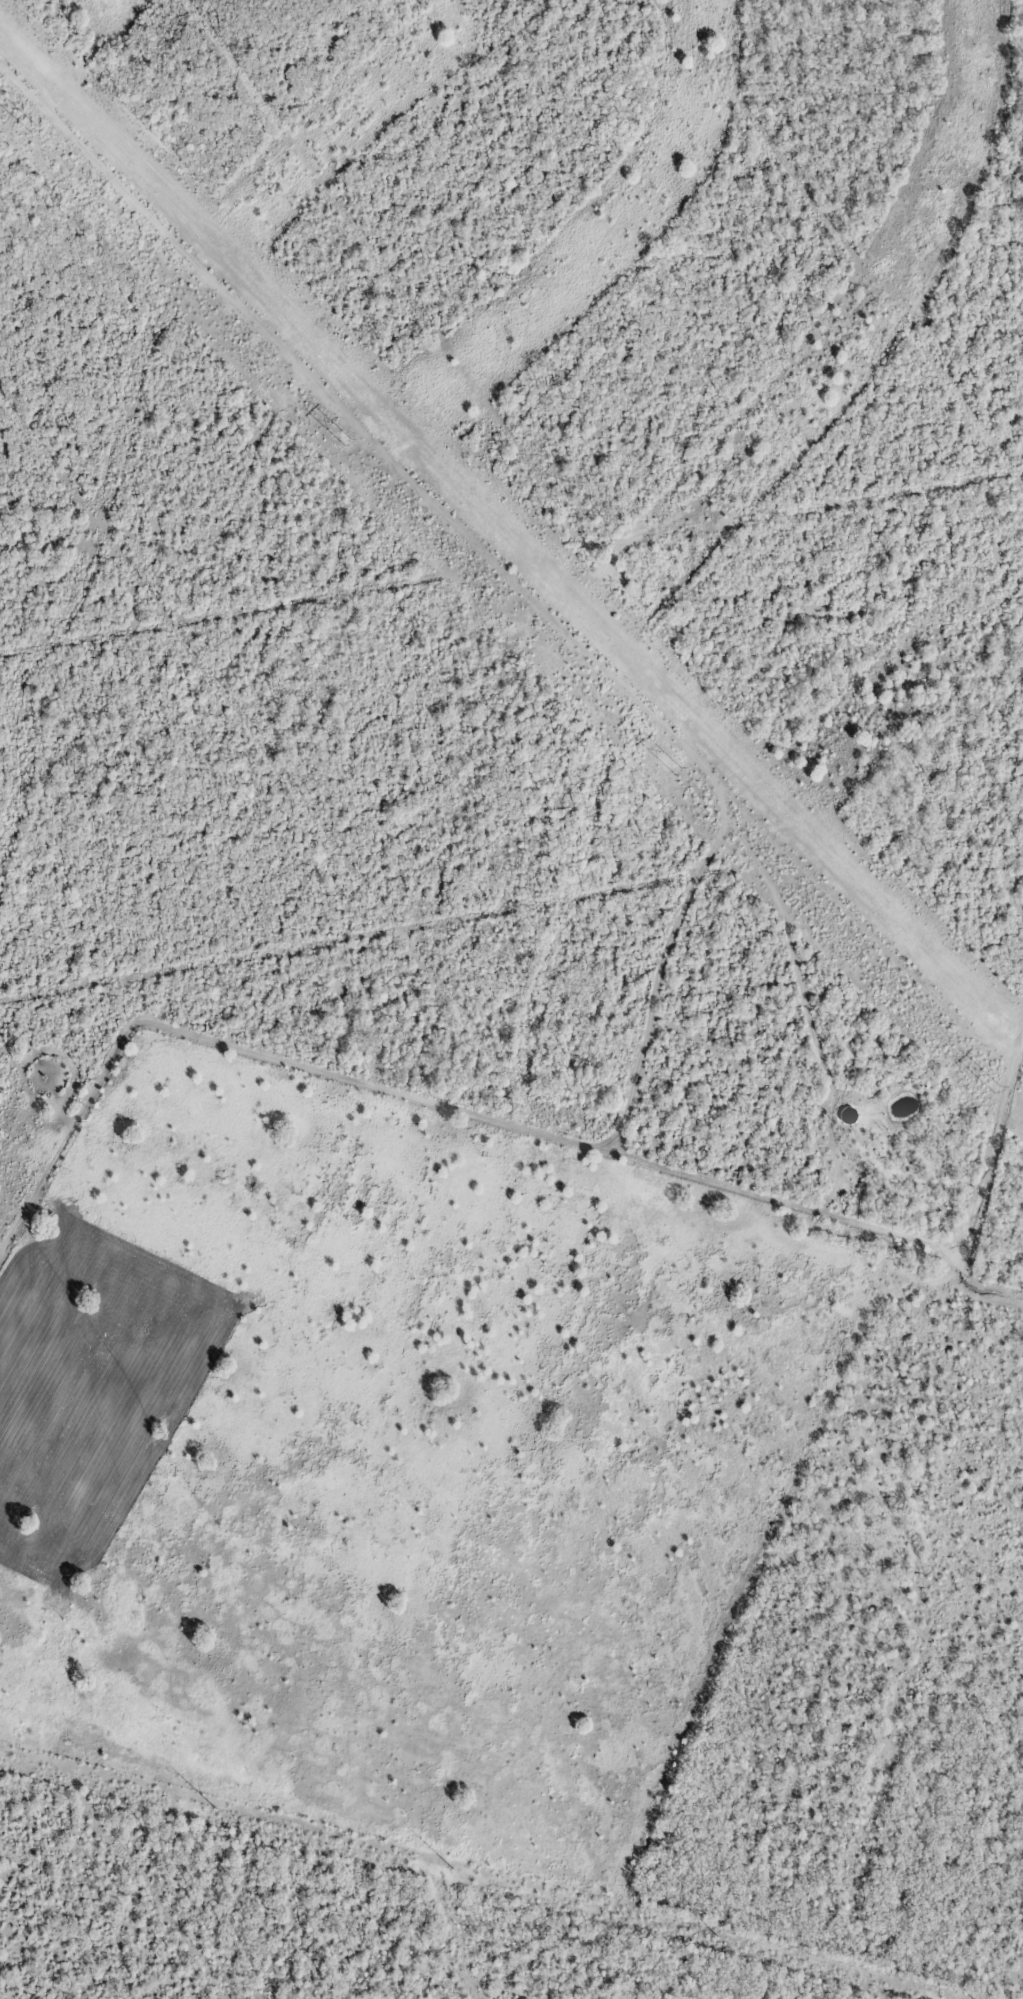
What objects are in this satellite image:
power tower: (31, 127)
power tower: (346, 442)
power tower: (677, 771)
power tower: (996, 1089)
power tower: (215, 1808)
power tower: (454, 1869)
power tower: (717, 1939)

